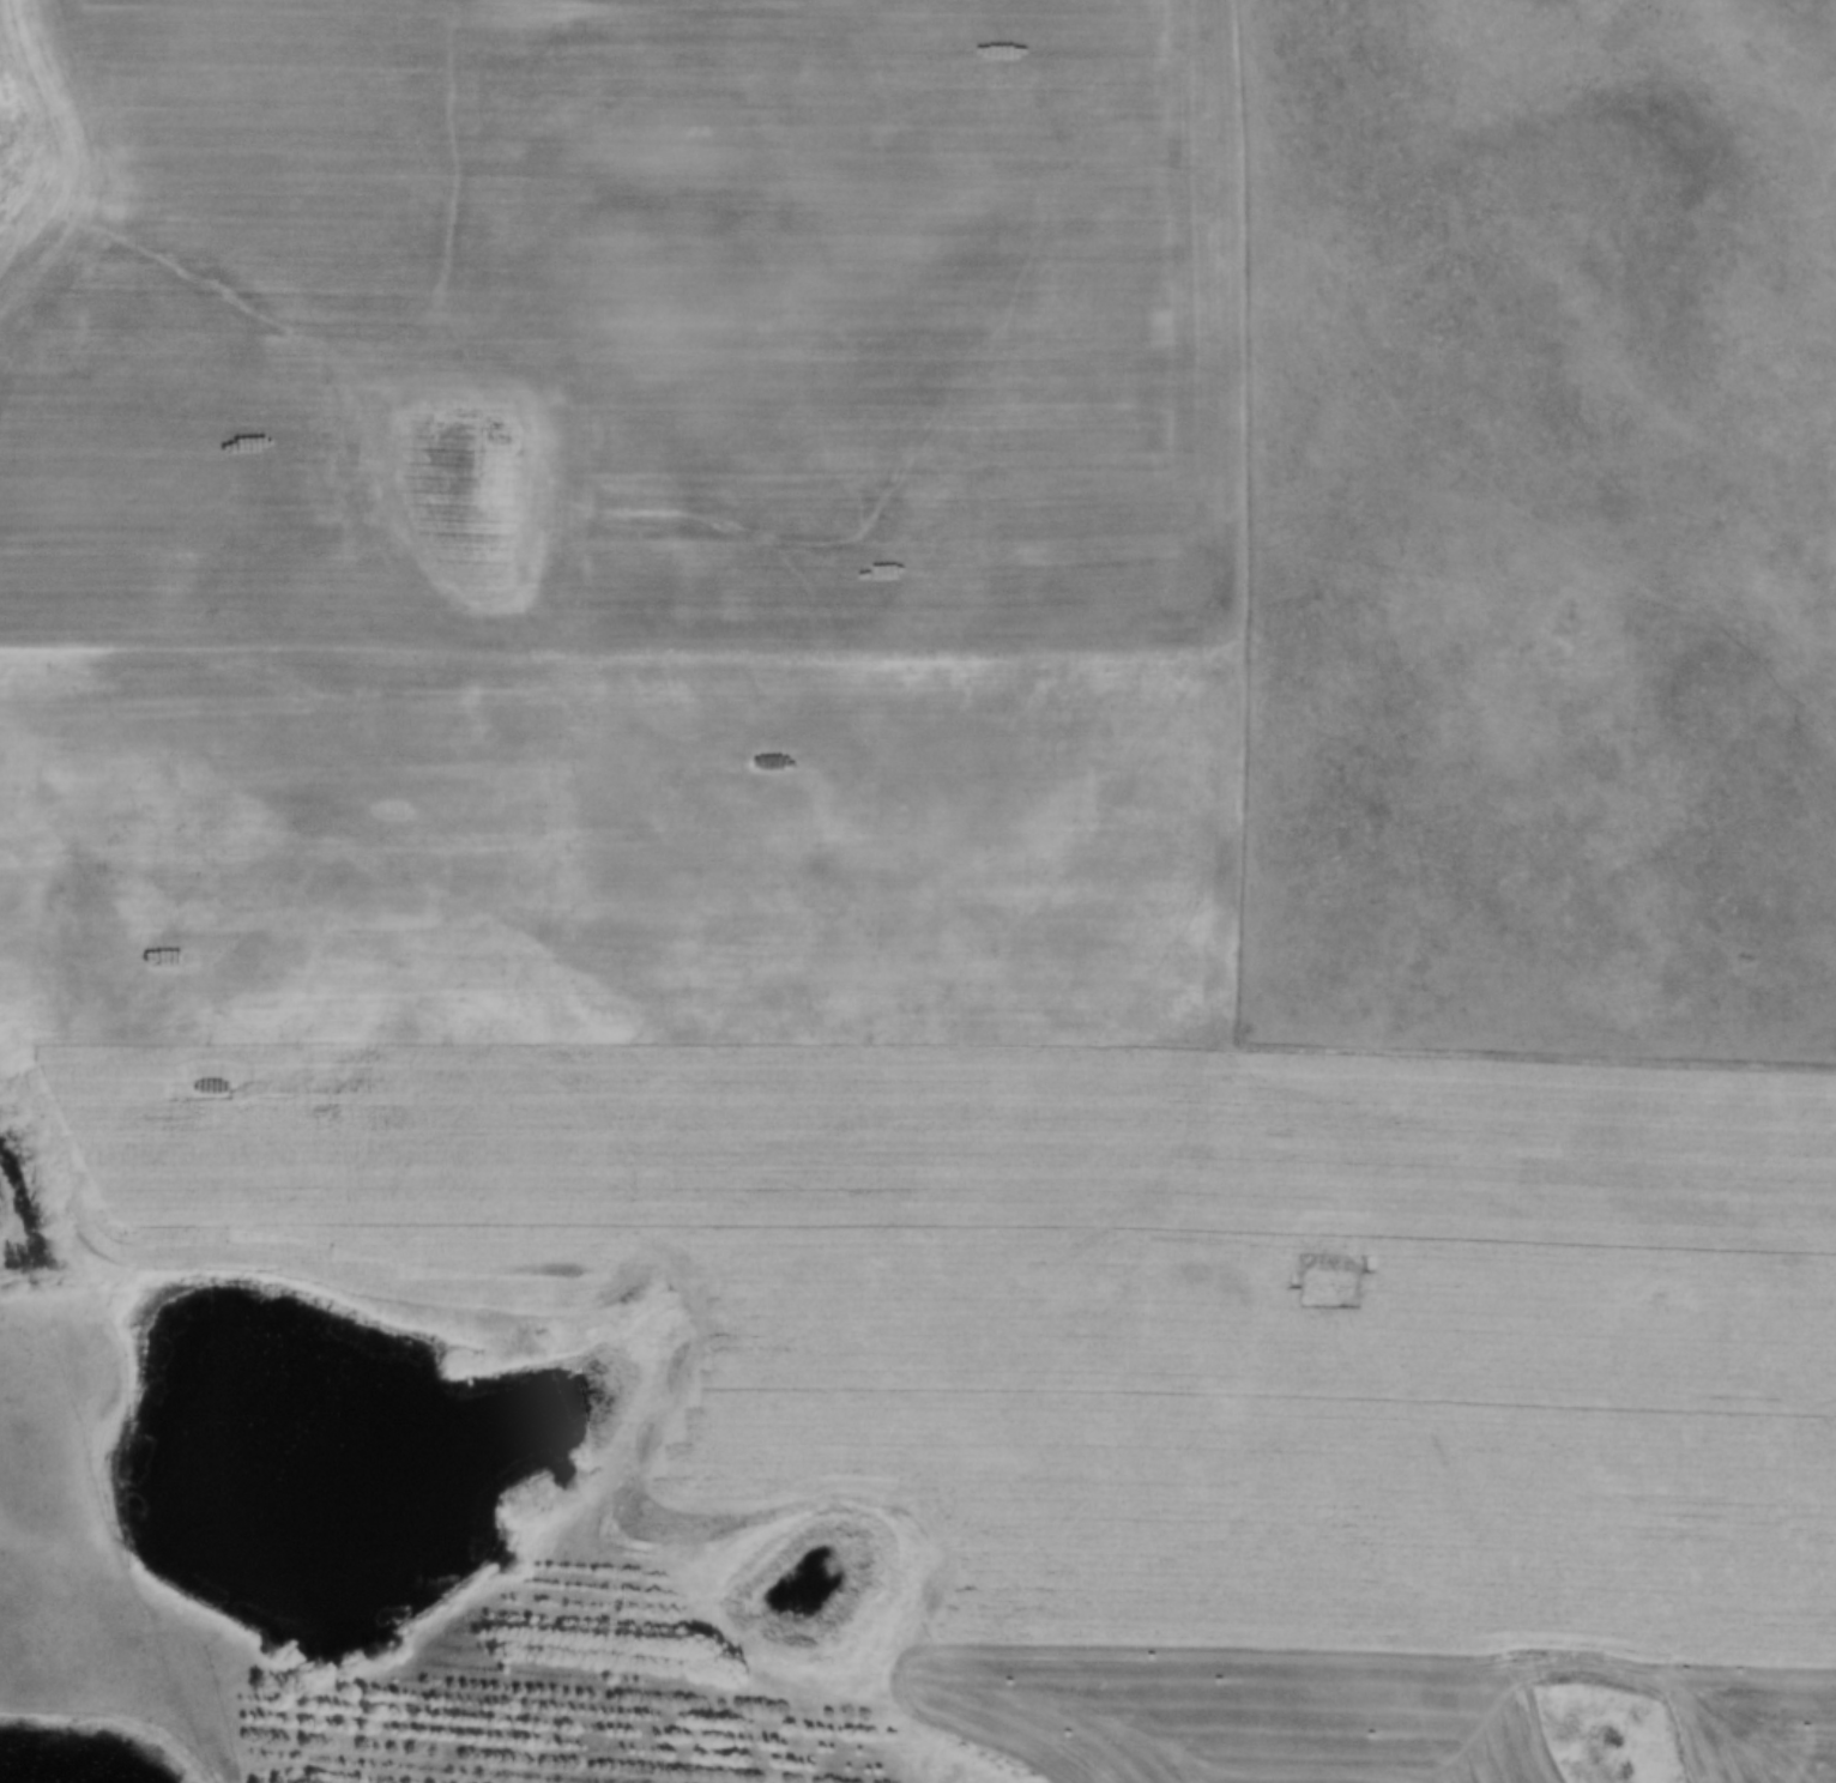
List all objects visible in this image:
road: (1641, 1162)

